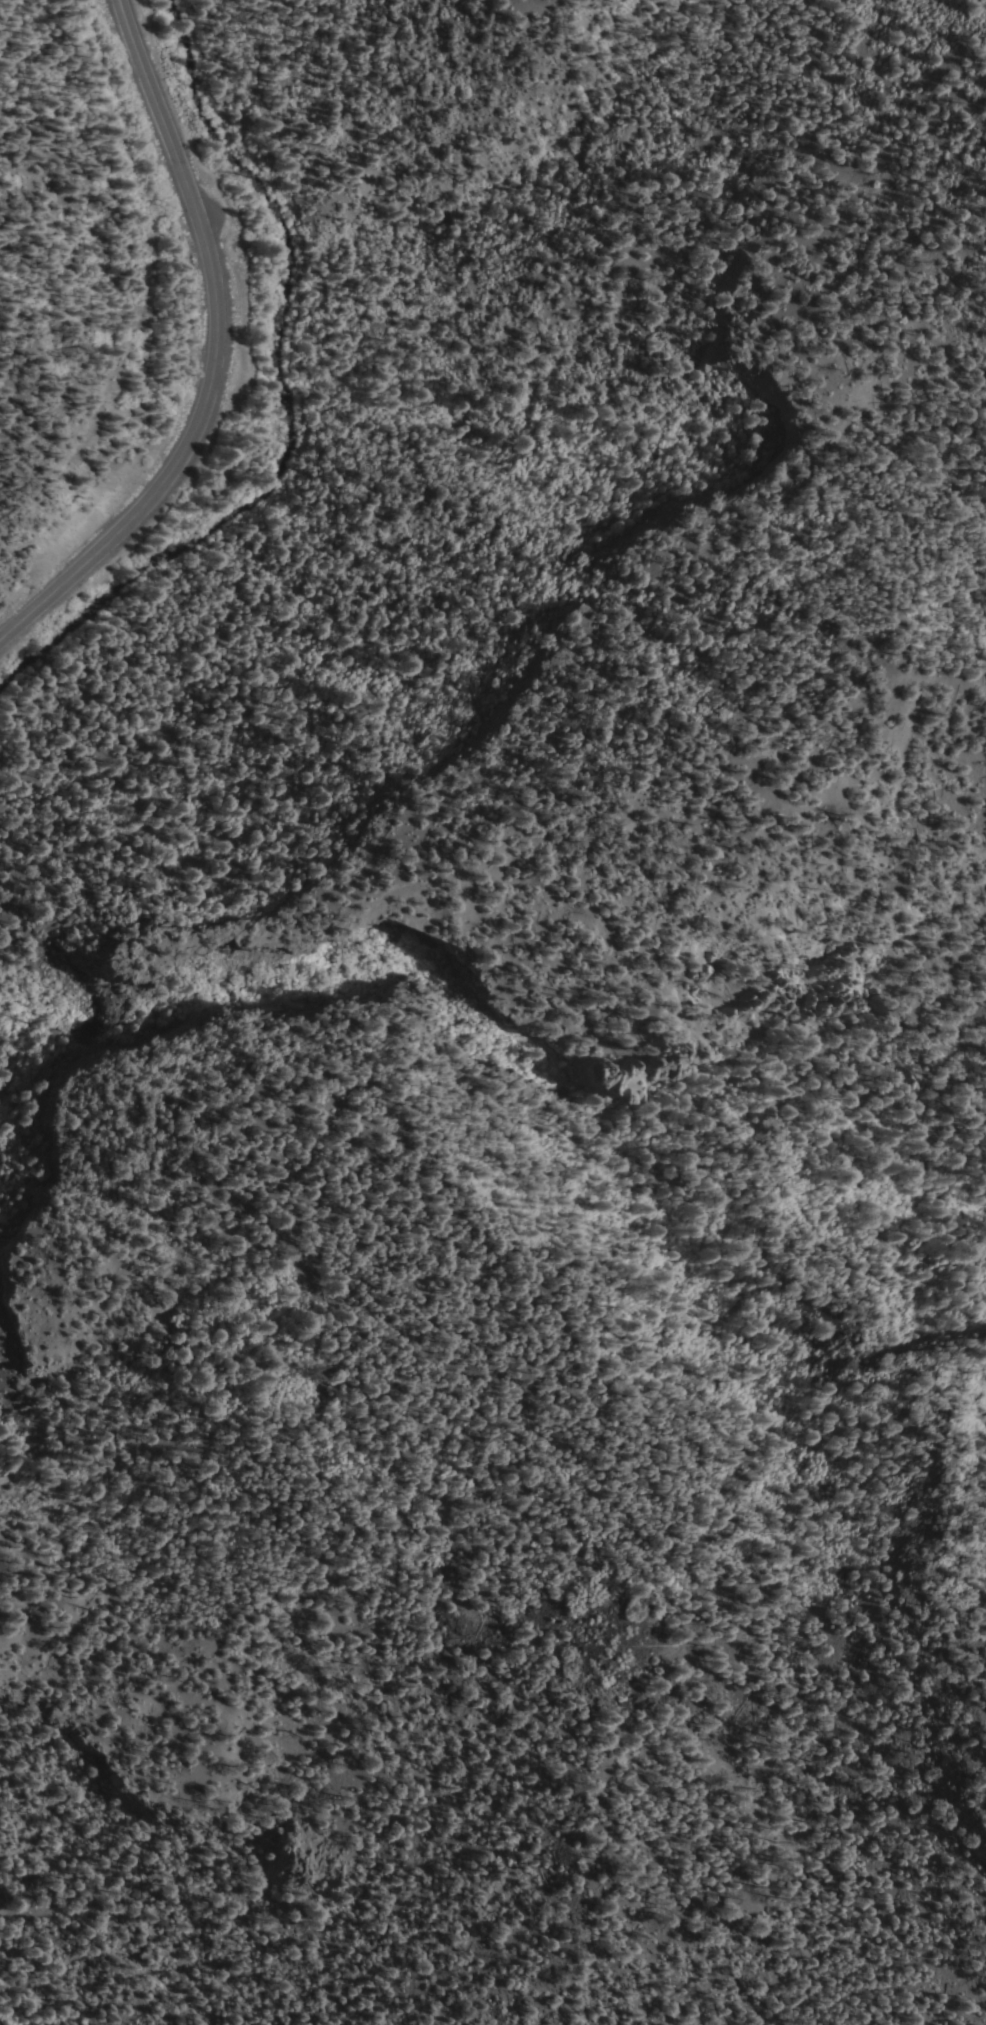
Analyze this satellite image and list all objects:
road: (212, 349)
road: (74, 1882)
road: (128, 1964)
road: (29, 2007)

